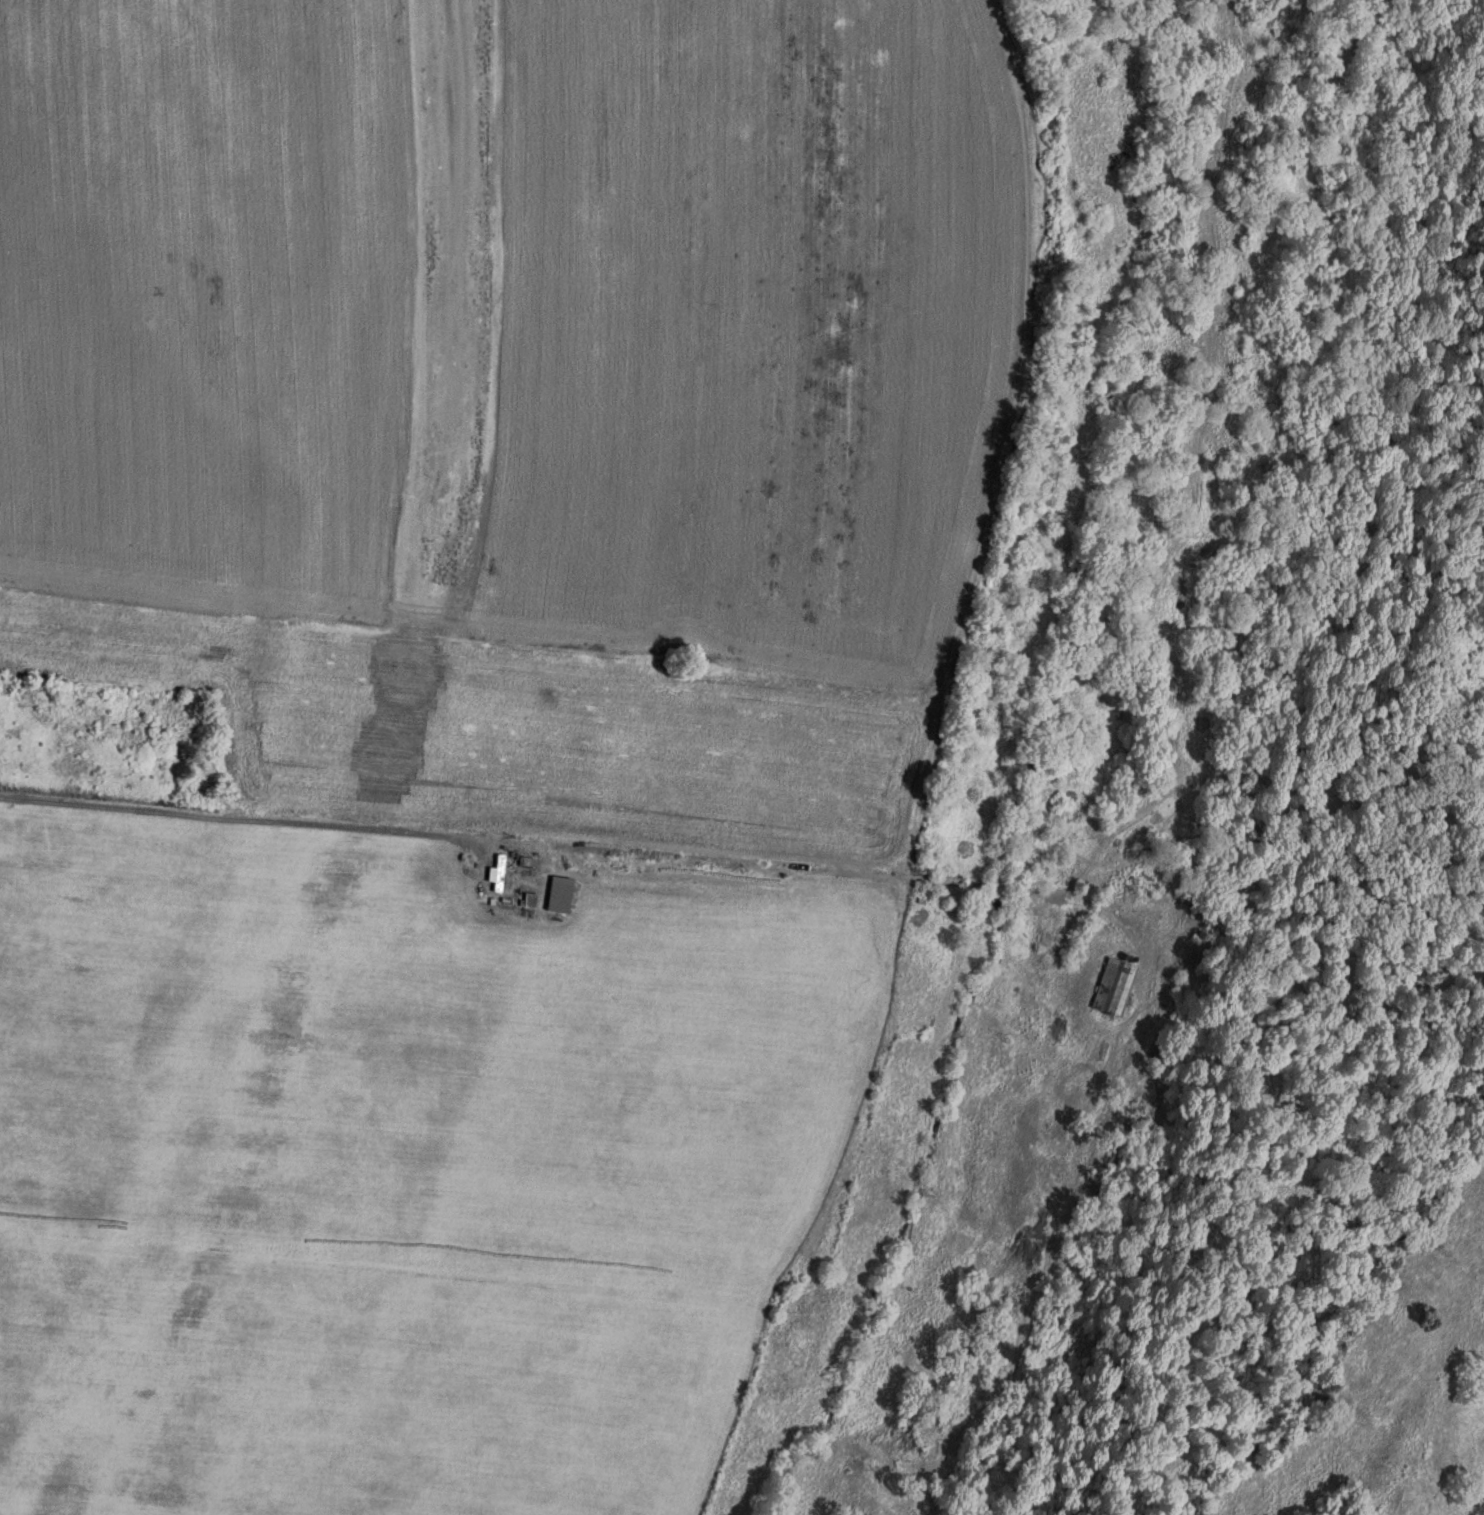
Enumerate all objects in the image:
building: (499, 872)
building: (1114, 986)

